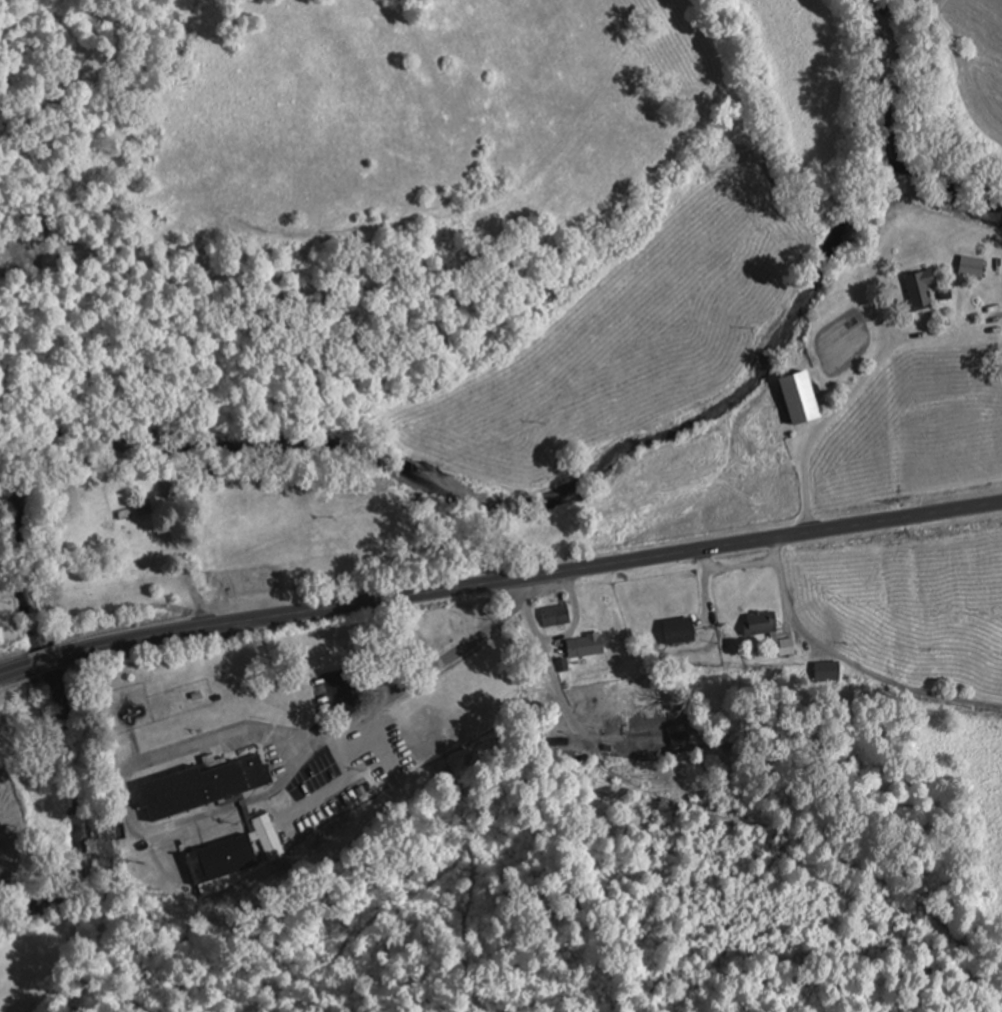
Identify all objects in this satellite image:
river: (957, 185)
building: (973, 265)
building: (922, 287)
building: (804, 396)
building: (164, 486)
road: (529, 577)
building: (554, 614)
building: (762, 622)
building: (681, 629)
building: (586, 644)
road: (44, 660)
road: (16, 670)
building: (827, 670)
road: (393, 687)
building: (679, 734)
building: (205, 784)
road: (532, 853)
building: (225, 858)

